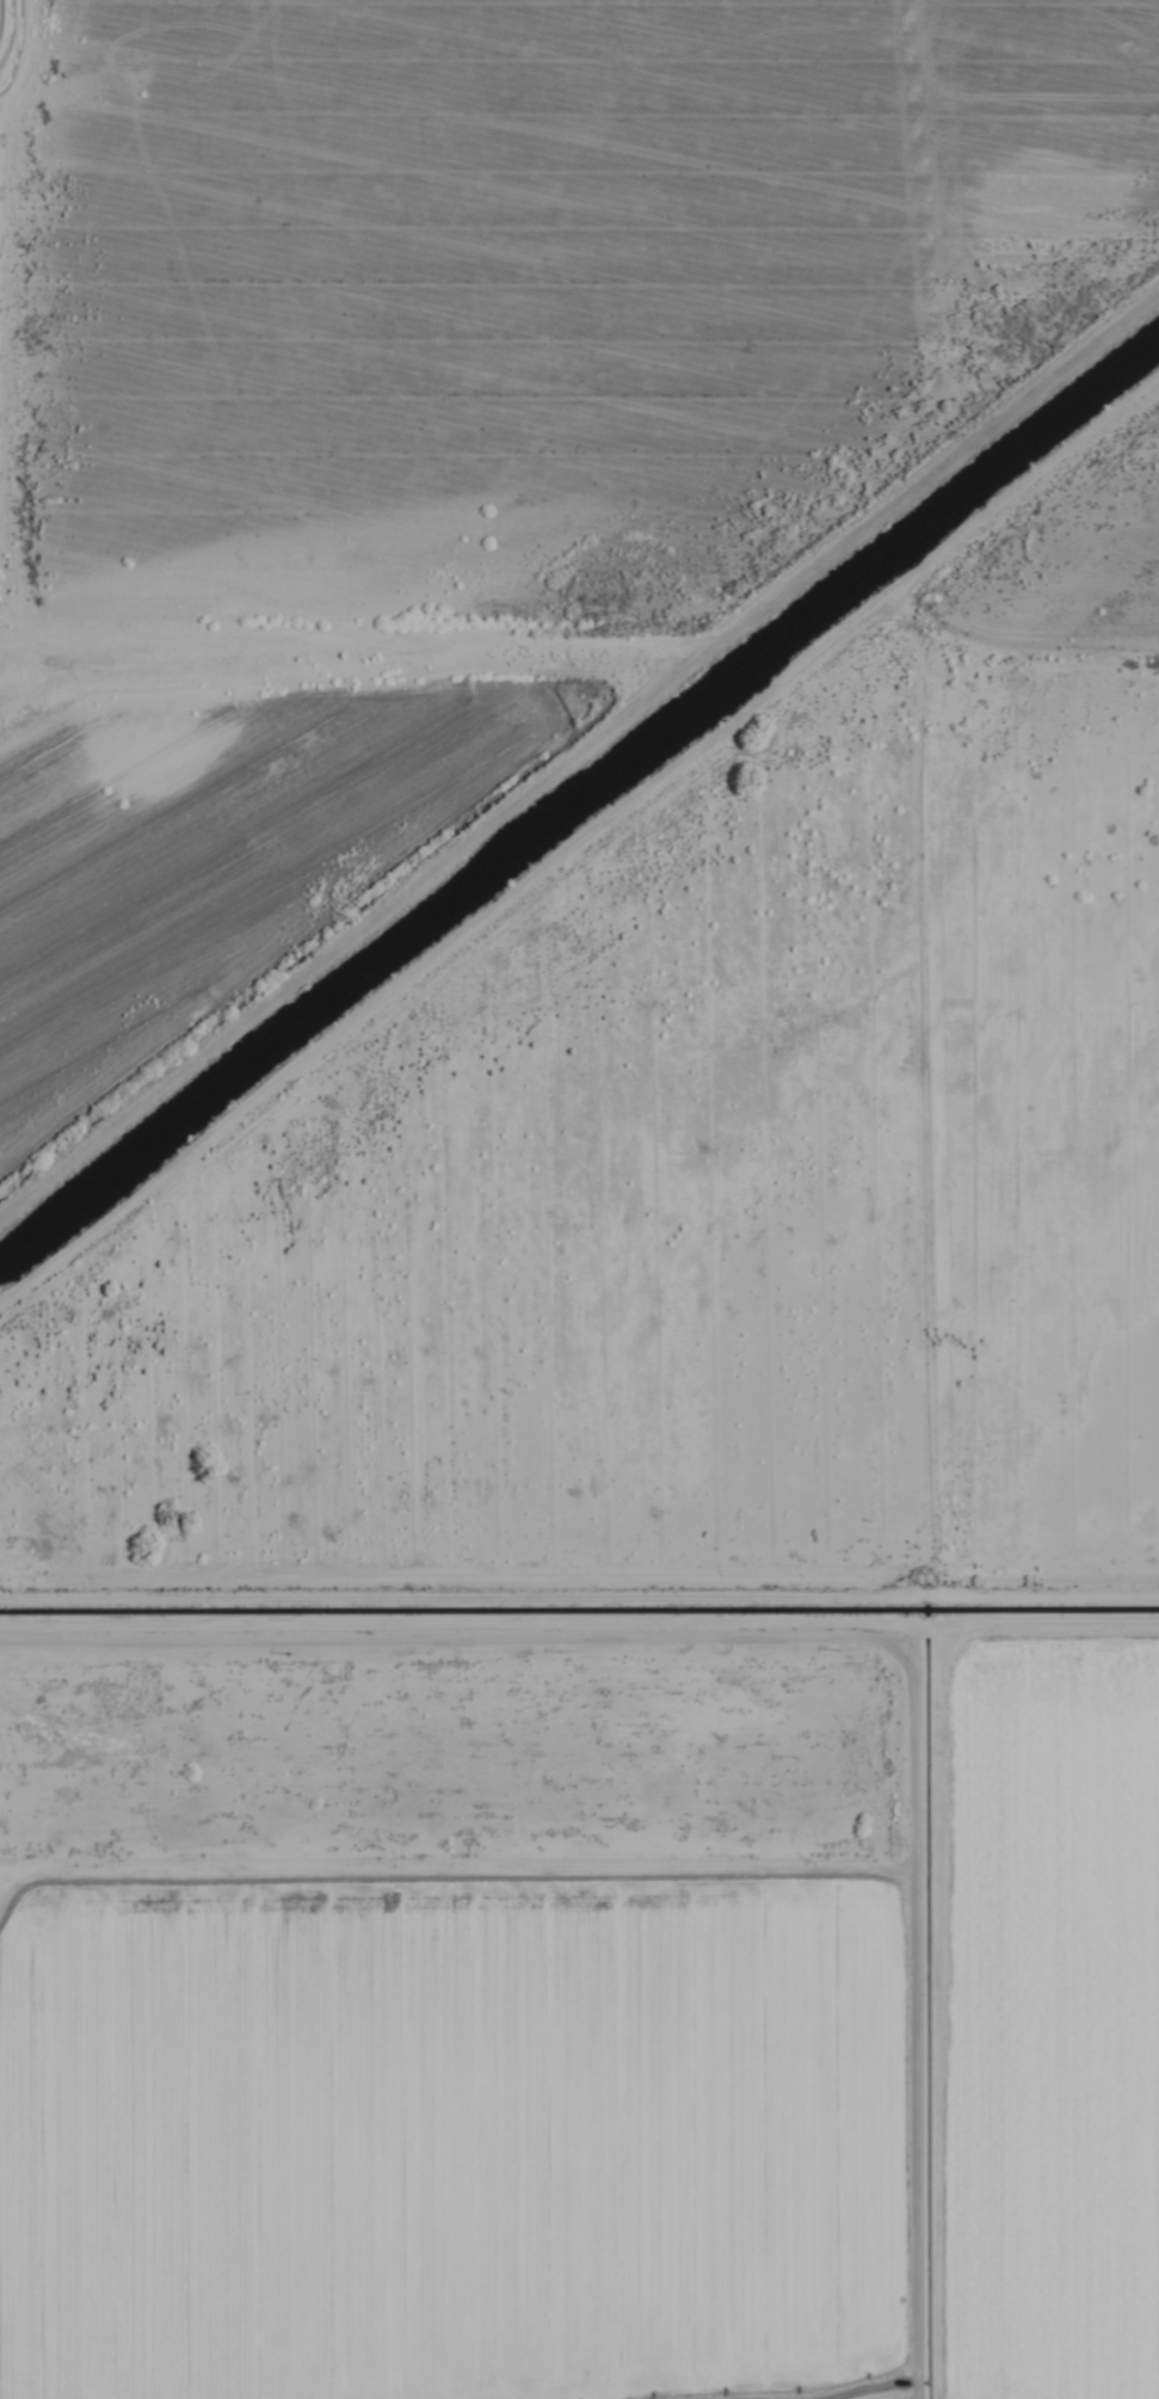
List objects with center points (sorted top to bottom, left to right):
crop: (578, 1189)

